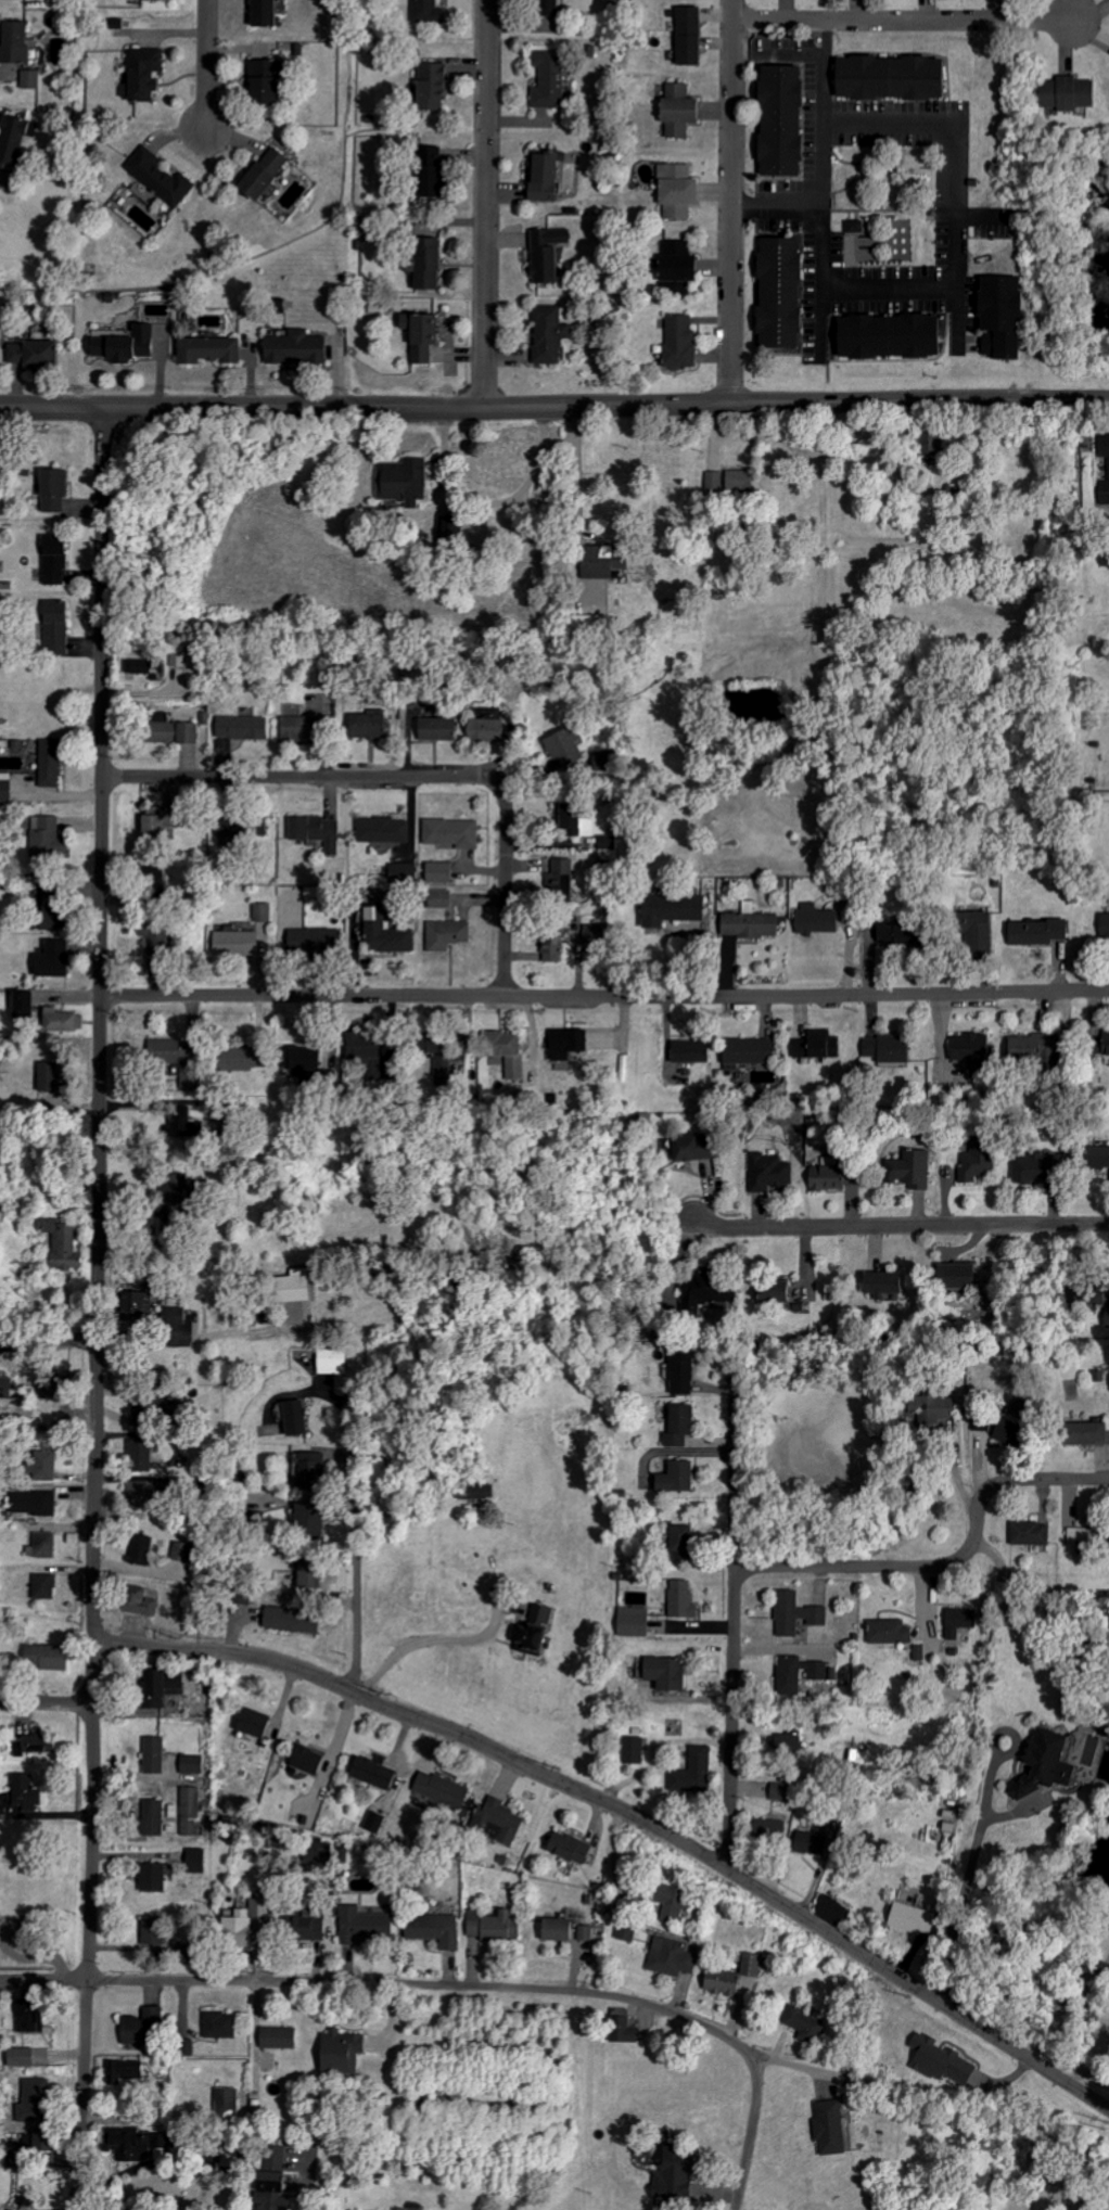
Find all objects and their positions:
building: (161, 0)
building: (547, 0)
building: (433, 12)
building: (275, 14)
road: (907, 21)
building: (687, 35)
building: (21, 44)
road: (208, 65)
building: (150, 74)
building: (885, 77)
building: (35, 80)
building: (553, 80)
building: (271, 82)
building: (439, 87)
building: (1066, 93)
building: (677, 110)
building: (777, 120)
building: (16, 141)
road: (826, 161)
building: (442, 170)
building: (272, 171)
building: (165, 177)
building: (551, 177)
building: (676, 191)
road: (732, 200)
road: (485, 203)
building: (855, 226)
road: (961, 245)
building: (675, 261)
building: (432, 263)
building: (674, 288)
building: (776, 292)
building: (997, 317)
building: (553, 333)
building: (426, 334)
building: (887, 336)
building: (678, 341)
building: (129, 343)
building: (303, 346)
building: (213, 349)
building: (39, 353)
road: (554, 405)
building: (923, 444)
building: (1108, 468)
road: (574, 474)
building: (730, 480)
building: (409, 481)
building: (61, 488)
building: (454, 529)
building: (60, 560)
building: (609, 561)
building: (598, 623)
building: (62, 627)
building: (149, 665)
building: (374, 726)
building: (247, 728)
building: (306, 728)
building: (444, 729)
building: (179, 730)
building: (495, 730)
building: (574, 749)
building: (56, 763)
road: (303, 775)
building: (9, 788)
building: (168, 820)
building: (583, 821)
building: (322, 831)
building: (388, 831)
building: (457, 833)
building: (49, 839)
building: (445, 872)
building: (566, 876)
road: (502, 886)
building: (447, 899)
building: (59, 906)
building: (677, 909)
building: (266, 912)
building: (821, 920)
building: (755, 923)
building: (1105, 927)
building: (974, 929)
building: (906, 932)
building: (1035, 932)
building: (598, 933)
building: (391, 934)
building: (452, 935)
building: (322, 941)
building: (242, 944)
building: (162, 945)
building: (558, 945)
building: (56, 959)
road: (606, 994)
building: (28, 1002)
building: (65, 1020)
building: (448, 1043)
building: (574, 1043)
building: (826, 1045)
building: (1098, 1045)
building: (1027, 1047)
building: (894, 1048)
building: (753, 1050)
building: (978, 1050)
building: (697, 1051)
building: (380, 1052)
building: (512, 1052)
building: (255, 1058)
building: (183, 1061)
building: (53, 1080)
building: (187, 1129)
building: (700, 1148)
building: (1097, 1157)
building: (982, 1162)
building: (1034, 1166)
building: (920, 1168)
building: (773, 1173)
building: (834, 1178)
building: (194, 1192)
road: (896, 1226)
building: (69, 1244)
building: (955, 1274)
building: (891, 1282)
building: (302, 1286)
building: (714, 1289)
building: (783, 1294)
building: (1092, 1295)
building: (149, 1306)
road: (100, 1308)
building: (179, 1316)
road: (117, 1340)
building: (335, 1362)
building: (687, 1372)
building: (928, 1408)
building: (152, 1416)
building: (301, 1418)
building: (1000, 1423)
building: (981, 1425)
building: (686, 1426)
building: (1084, 1433)
building: (145, 1455)
building: (316, 1468)
building: (681, 1478)
building: (144, 1495)
building: (490, 1497)
building: (310, 1518)
building: (1030, 1533)
building: (1080, 1536)
building: (677, 1542)
road: (359, 1545)
building: (44, 1549)
building: (145, 1549)
building: (186, 1553)
road: (953, 1561)
building: (316, 1573)
building: (48, 1587)
building: (245, 1595)
building: (681, 1598)
building: (145, 1607)
road: (737, 1611)
building: (795, 1613)
building: (296, 1621)
building: (633, 1621)
building: (957, 1621)
building: (539, 1631)
building: (889, 1631)
road: (430, 1637)
building: (52, 1658)
building: (663, 1672)
building: (823, 1674)
building: (165, 1688)
road: (47, 1703)
building: (262, 1723)
building: (42, 1743)
building: (633, 1750)
building: (158, 1755)
building: (314, 1760)
building: (1042, 1763)
building: (195, 1765)
building: (378, 1773)
building: (778, 1788)
building: (442, 1789)
building: (31, 1793)
road: (632, 1809)
building: (193, 1812)
building: (157, 1817)
building: (497, 1821)
building: (769, 1828)
building: (808, 1842)
building: (200, 1860)
building: (158, 1876)
road: (972, 1876)
building: (672, 1903)
building: (836, 1911)
building: (907, 1917)
building: (254, 1920)
building: (494, 1924)
building: (366, 1925)
building: (309, 1927)
building: (2, 1929)
building: (158, 1929)
building: (434, 1929)
building: (558, 1929)
building: (626, 1931)
building: (586, 1932)
building: (672, 1956)
building: (731, 1977)
road: (392, 1988)
building: (35, 2014)
building: (802, 2022)
building: (227, 2024)
building: (145, 2029)
building: (285, 2036)
building: (352, 2051)
building: (30, 2057)
building: (940, 2060)
building: (132, 2072)
building: (42, 2086)
building: (829, 2125)
road: (748, 2142)
building: (141, 2143)
building: (21, 2158)
building: (674, 2164)
building: (279, 2190)

